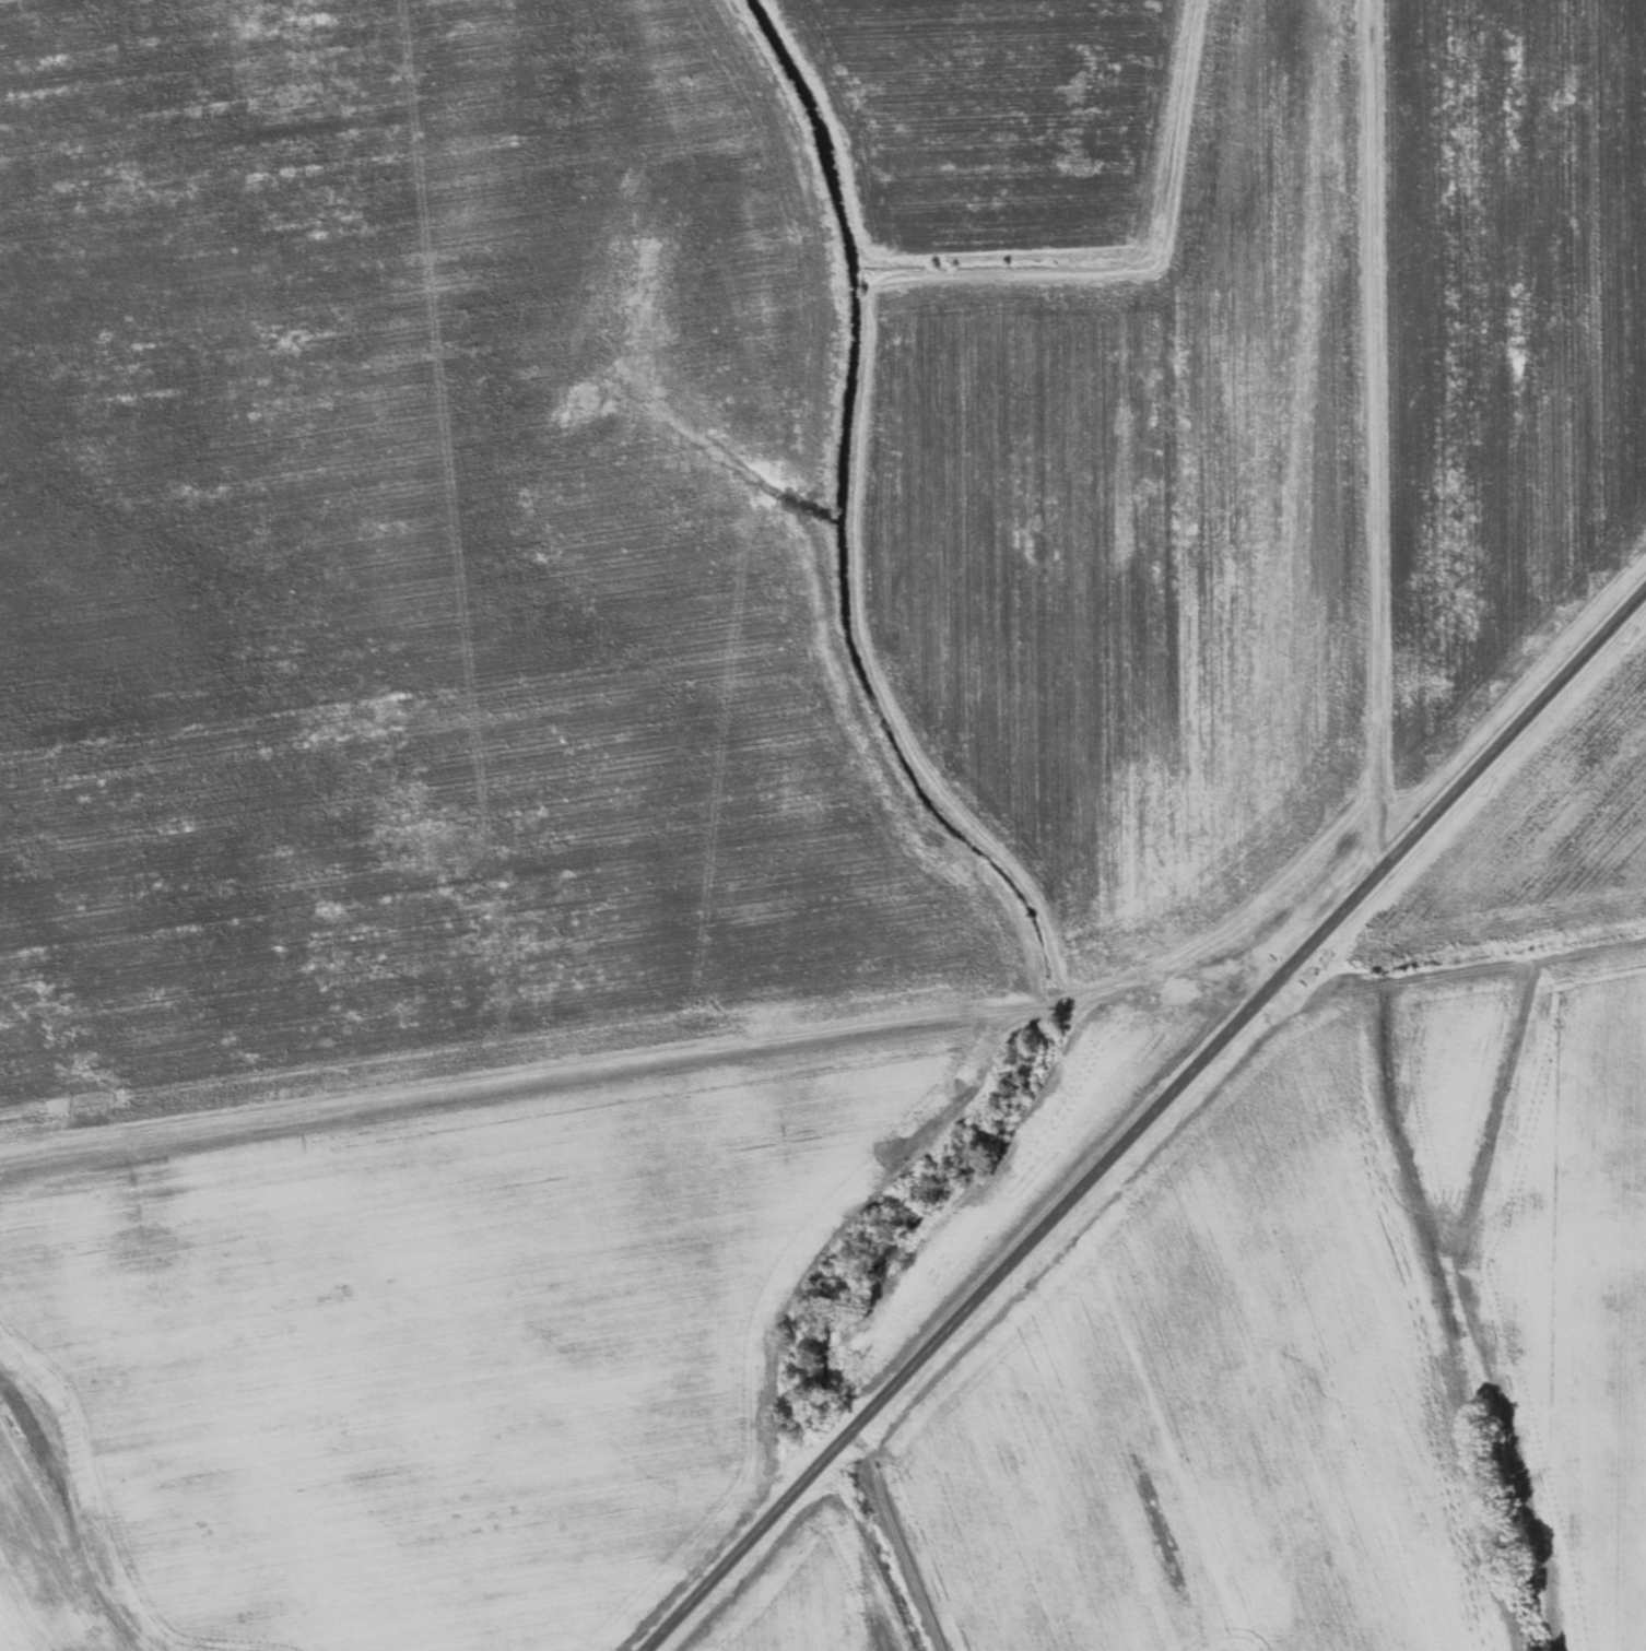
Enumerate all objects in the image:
road: (1137, 1060)
road: (1149, 1115)

